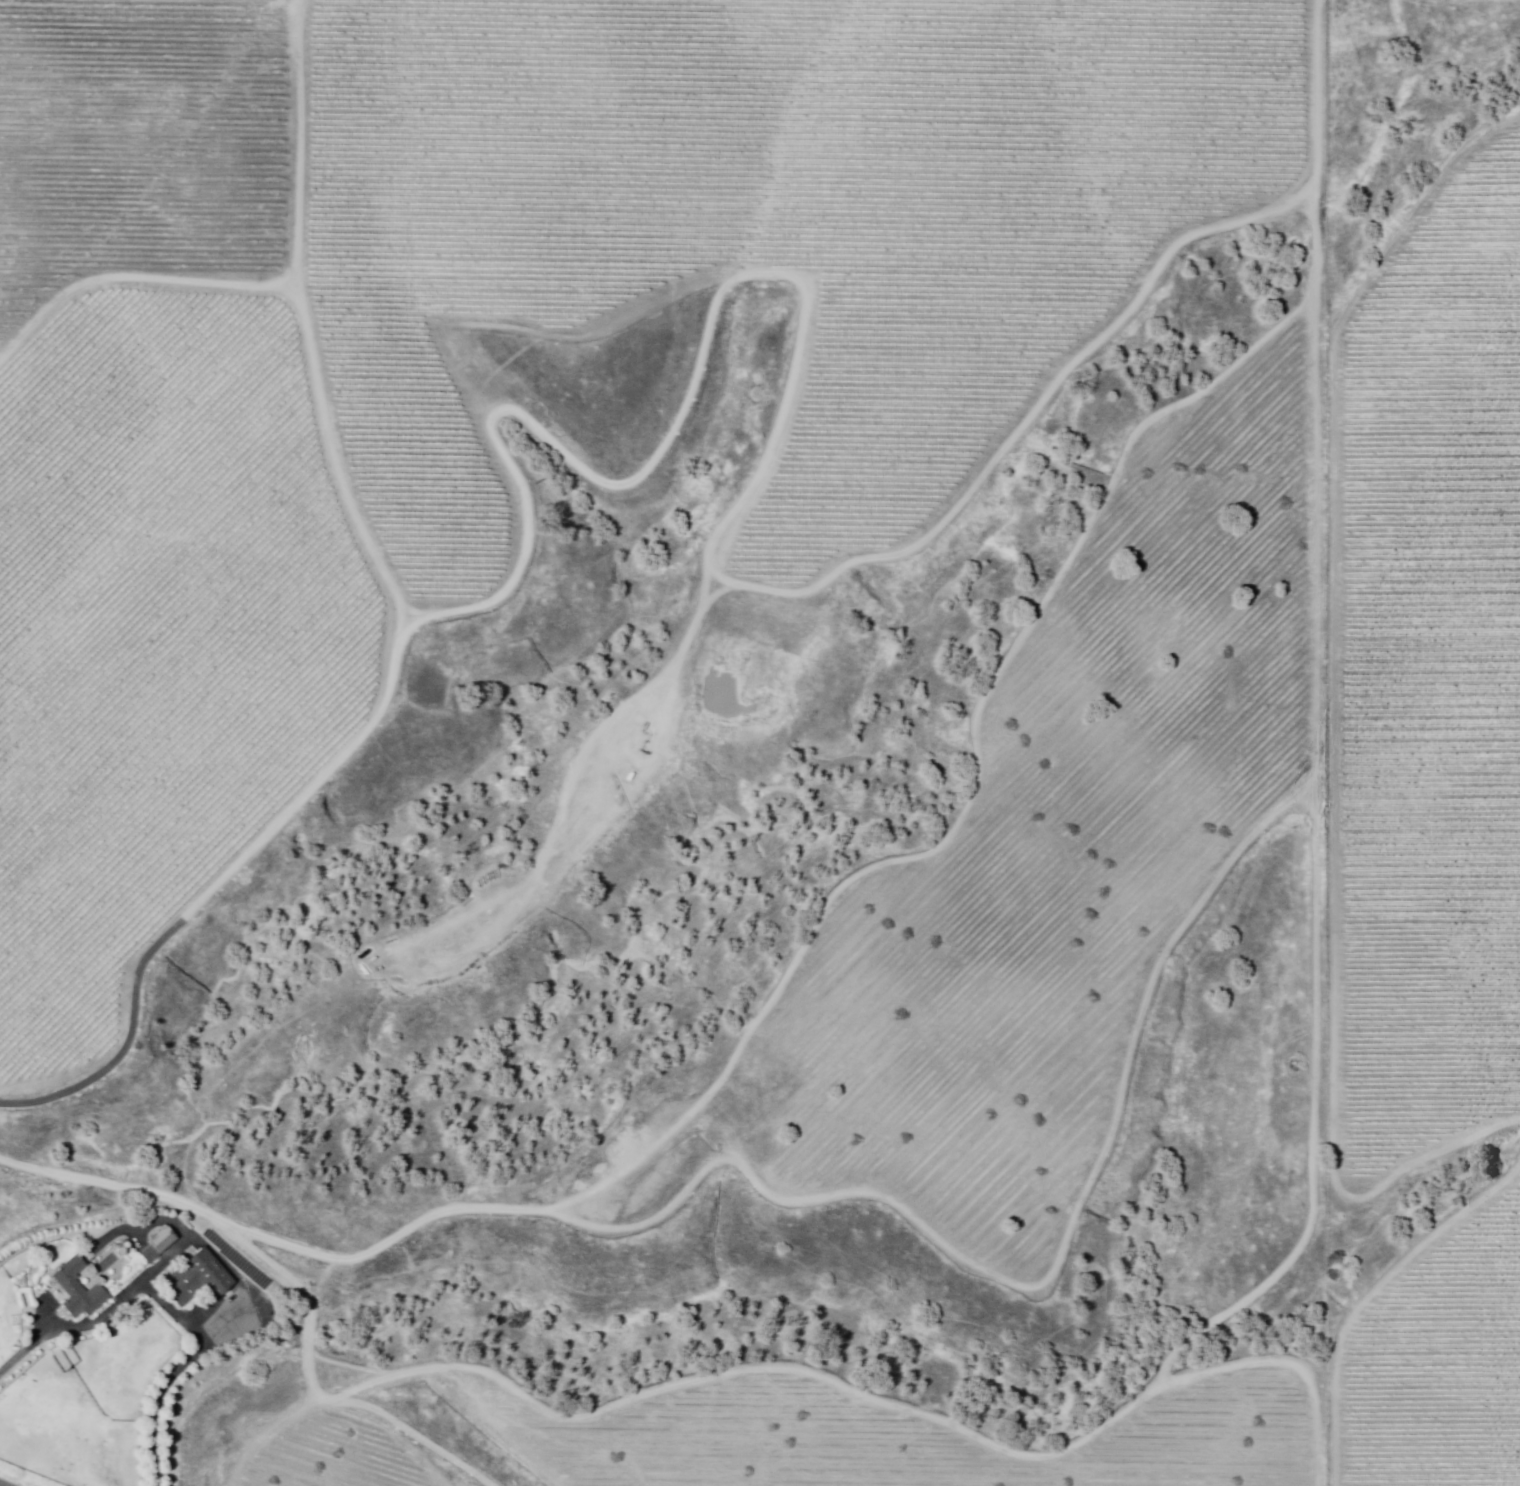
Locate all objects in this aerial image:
building: (150, 1256)
building: (199, 1279)
building: (75, 1287)
road: (158, 1401)
road: (2, 1484)

